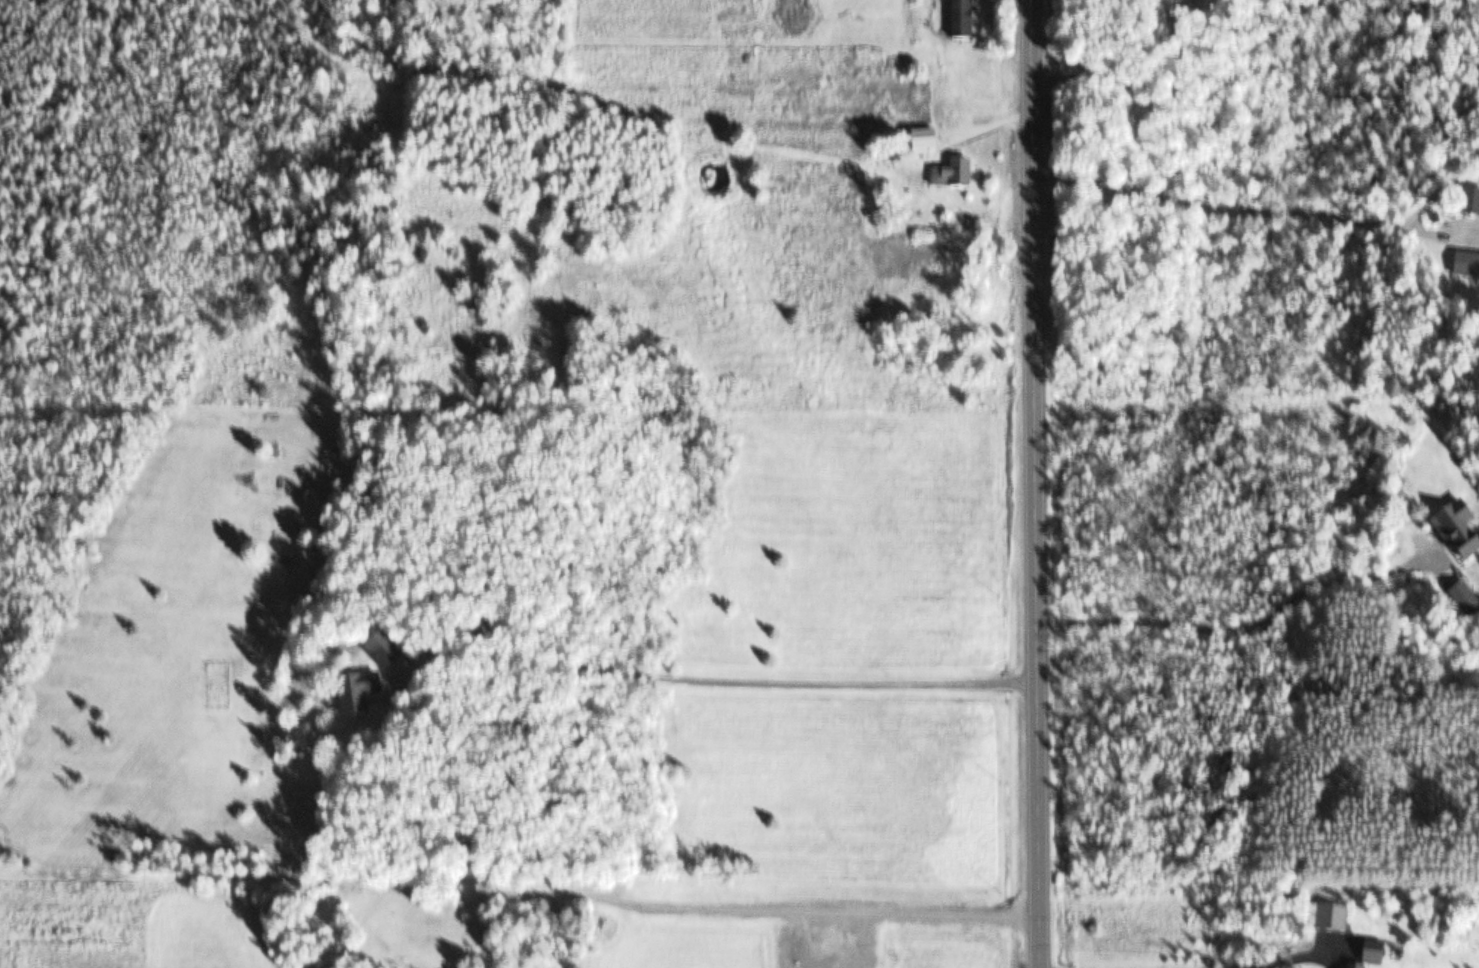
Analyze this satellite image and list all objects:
building: (964, 19)
building: (957, 175)
building: (1474, 203)
building: (1468, 267)
road: (1035, 484)
building: (1469, 541)
building: (1469, 600)
building: (386, 650)
road: (716, 679)
building: (360, 693)
building: (1339, 919)

